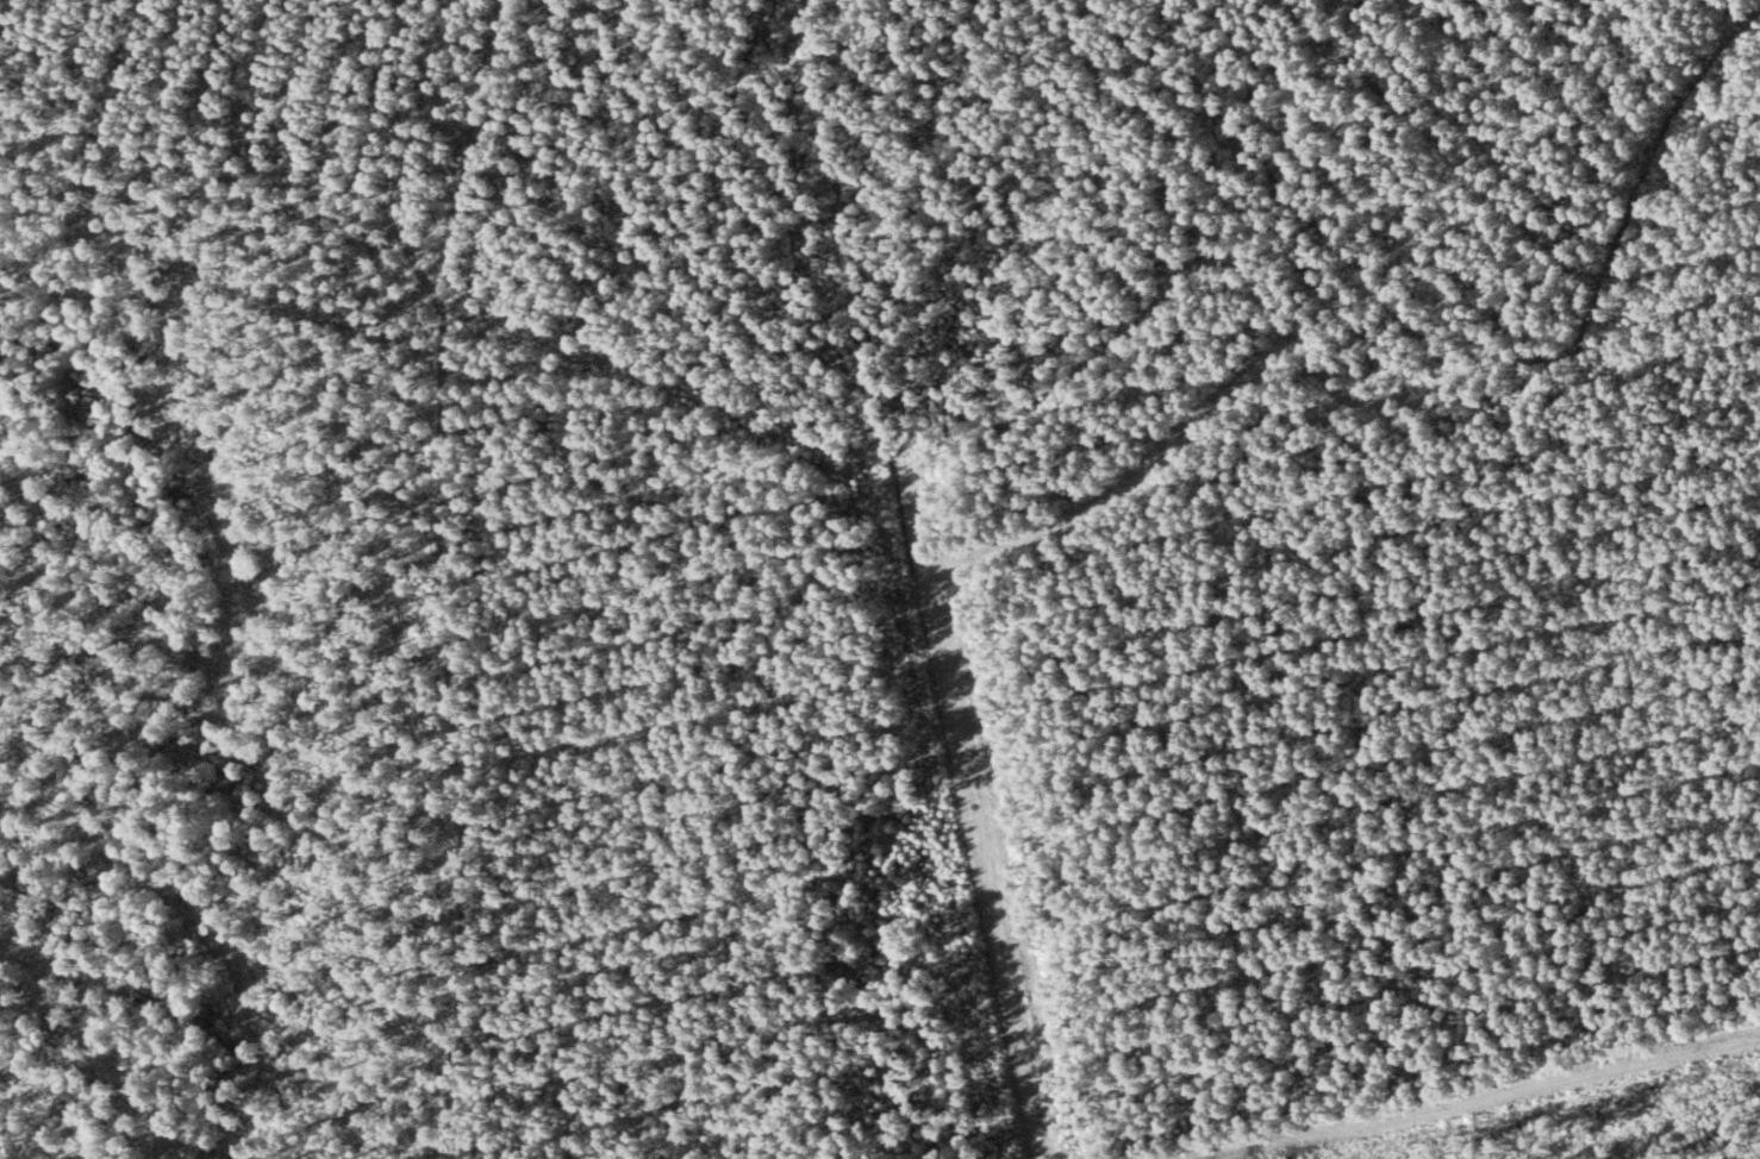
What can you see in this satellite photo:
road: (1600, 1122)

